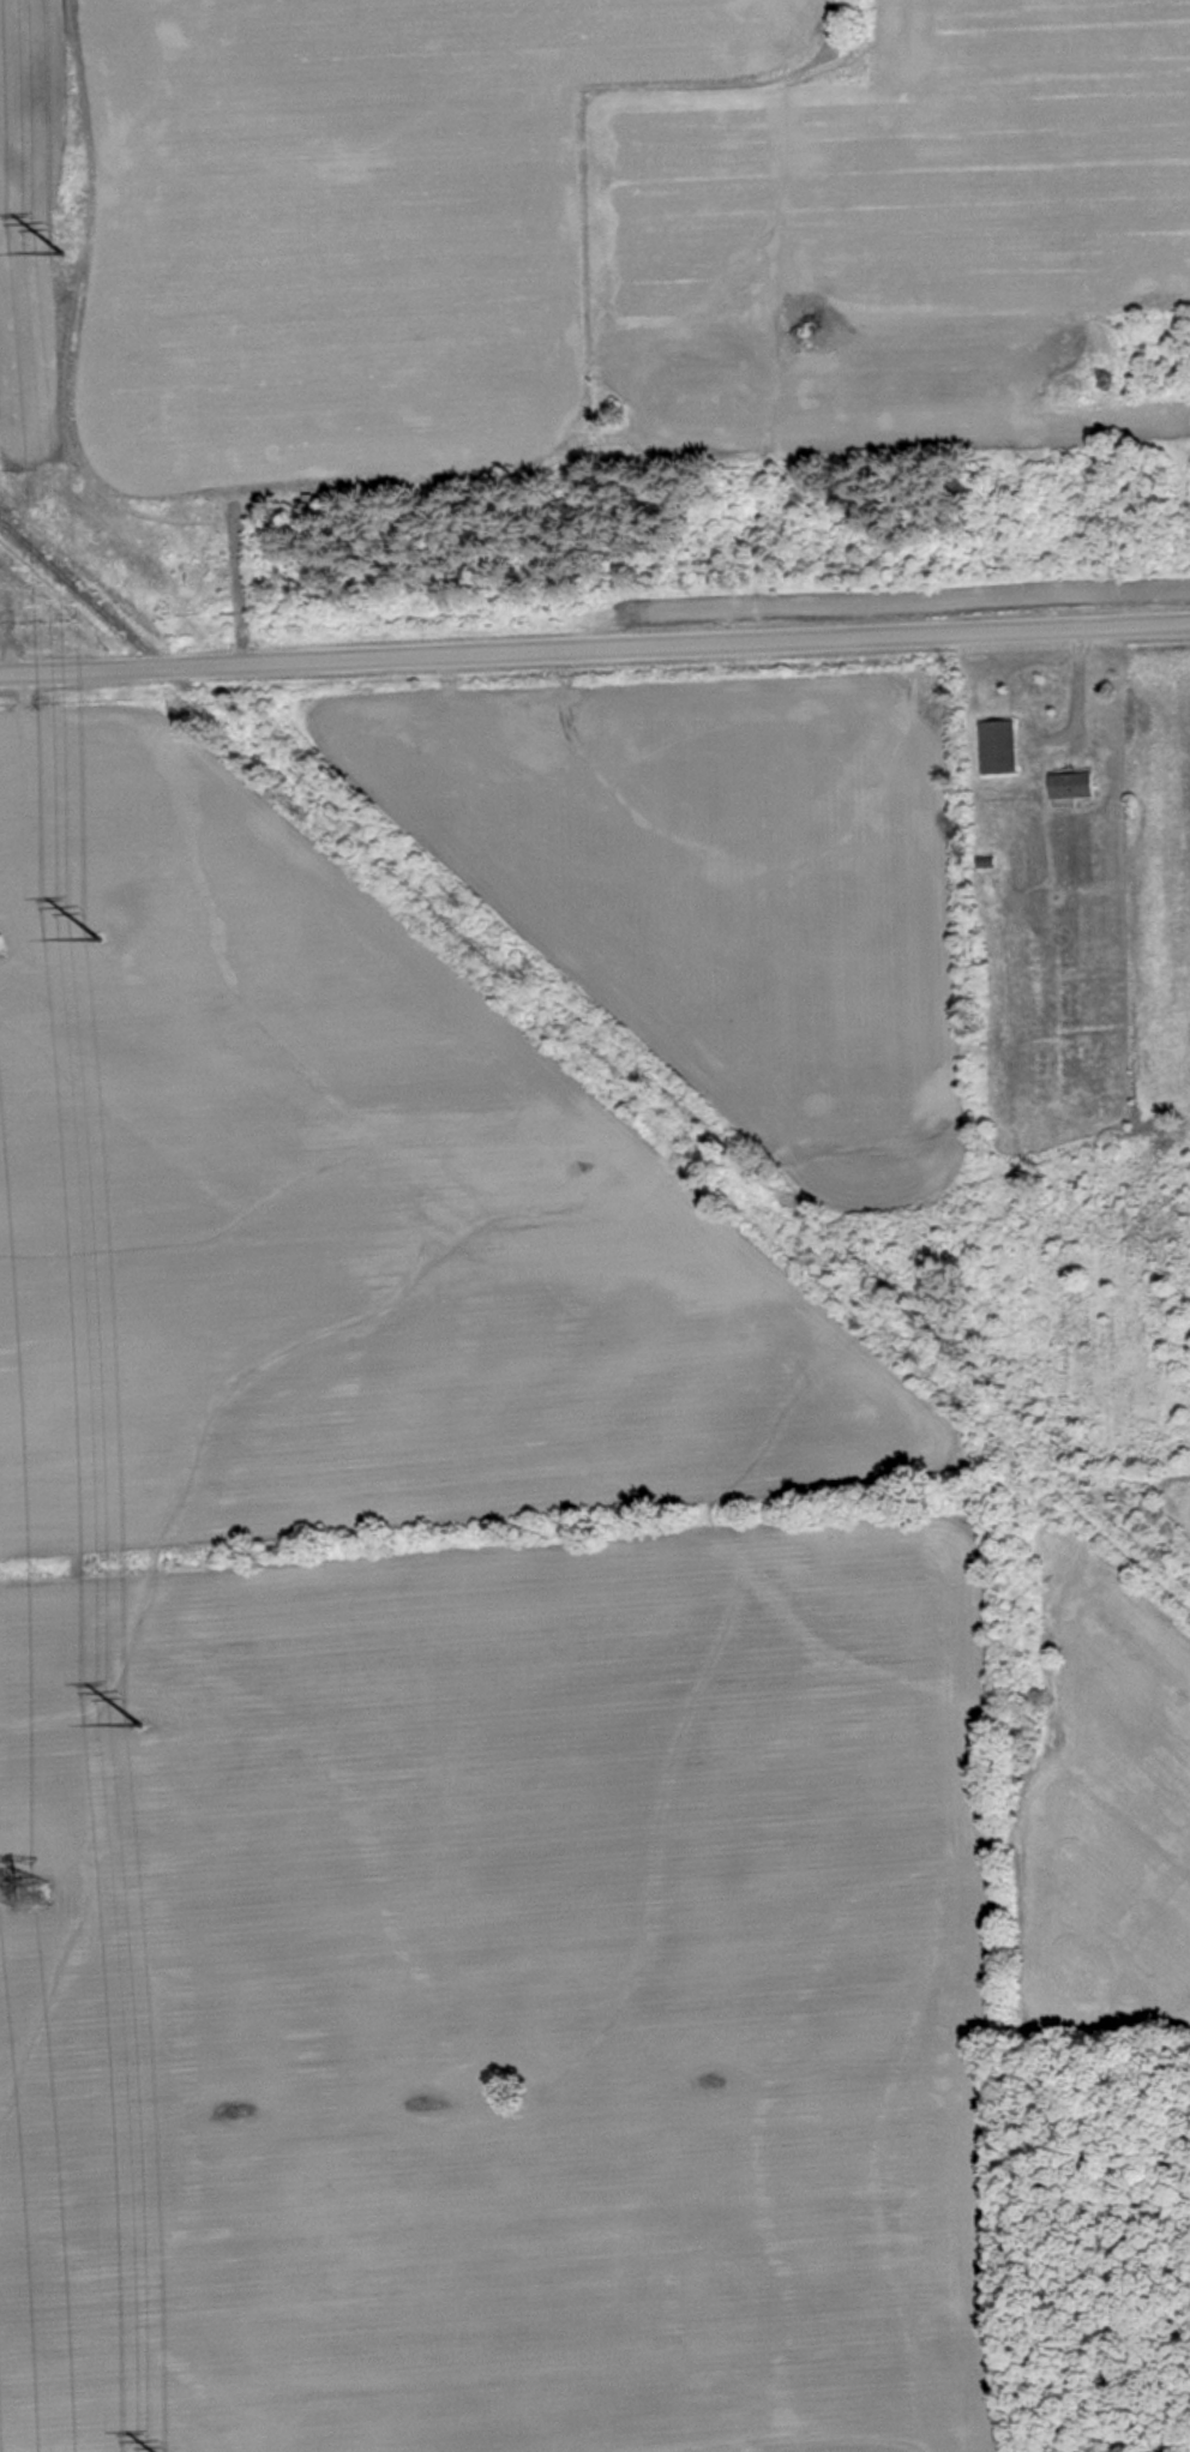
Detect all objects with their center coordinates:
power tower: (58, 254)
road: (595, 647)
building: (996, 746)
building: (1069, 785)
power tower: (97, 939)
power tower: (143, 1724)
power tower: (28, 1894)

